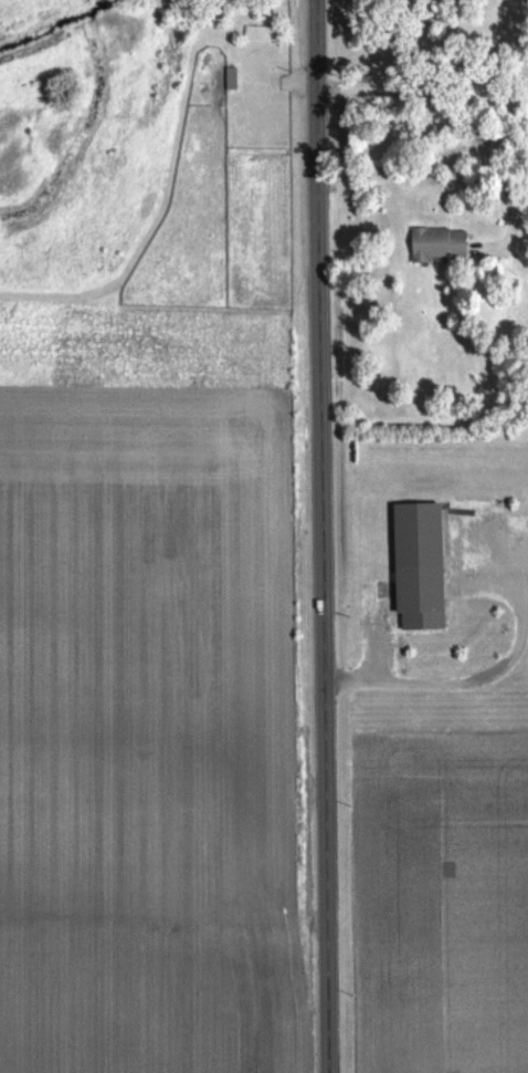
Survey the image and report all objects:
building: (236, 79)
road: (422, 91)
building: (445, 244)
road: (323, 535)
building: (427, 566)
road: (373, 673)

